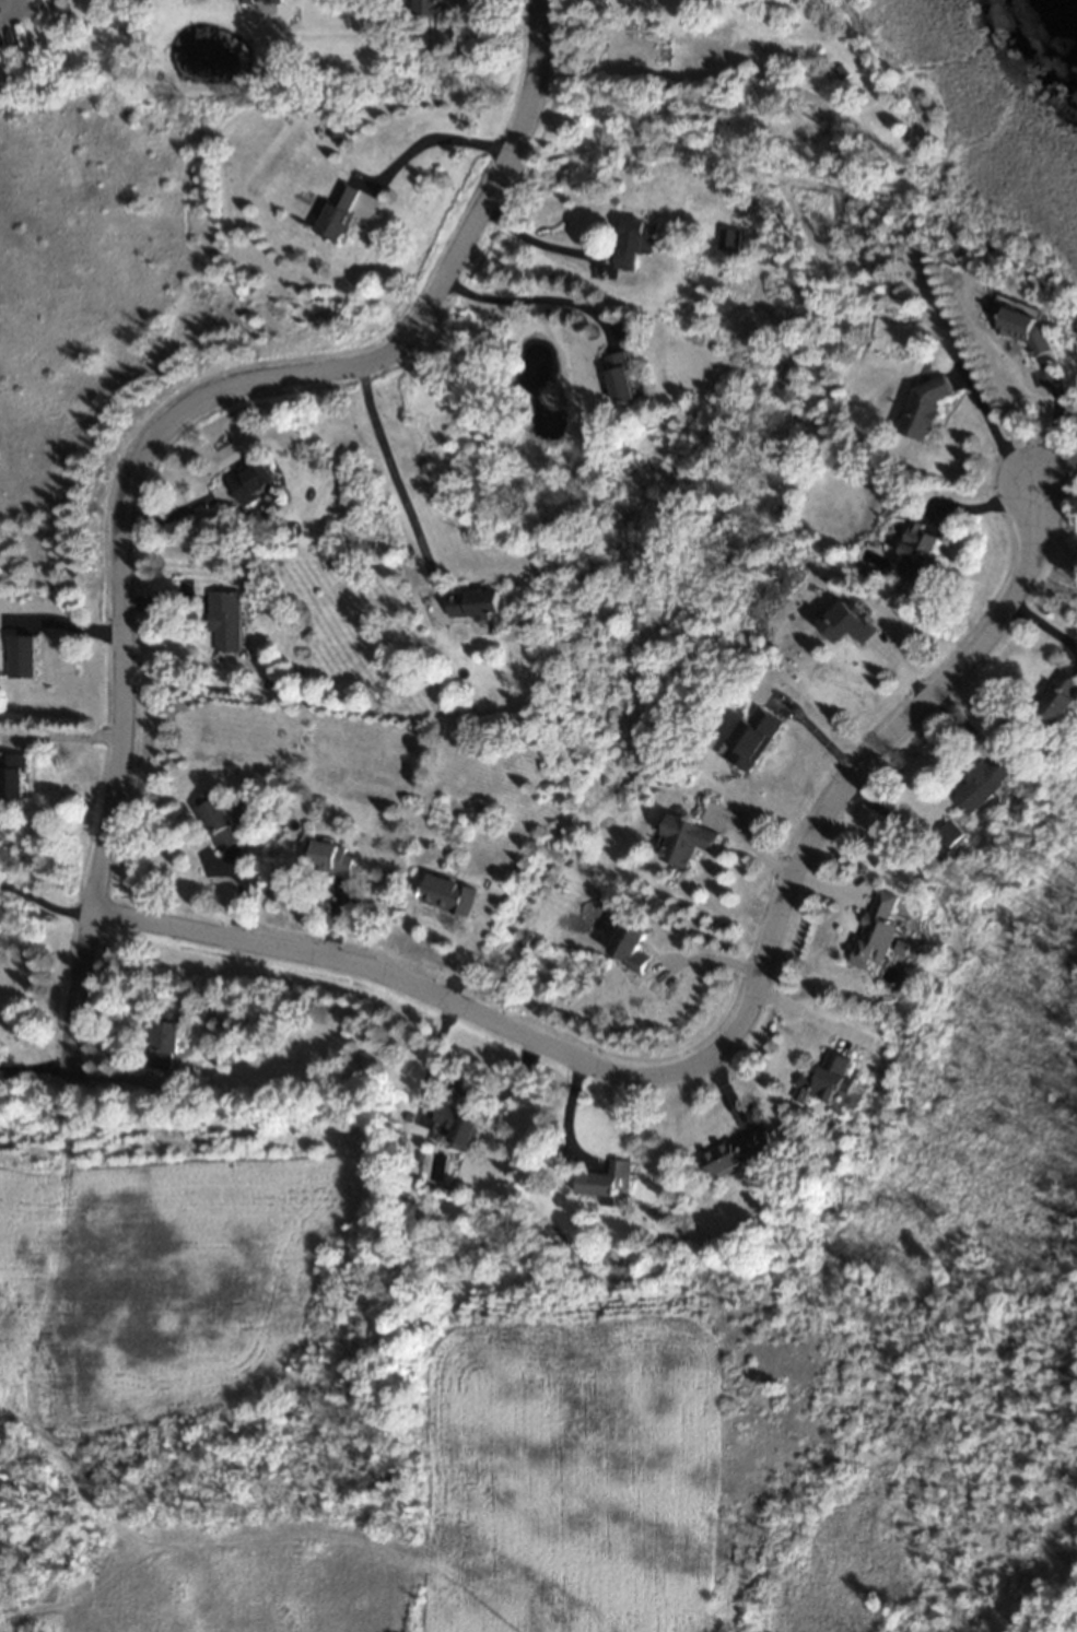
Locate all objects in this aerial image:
road: (9, 2)
building: (261, 2)
building: (430, 9)
building: (336, 131)
road: (431, 137)
building: (340, 215)
road: (534, 242)
building: (730, 242)
building: (640, 244)
road: (530, 301)
building: (1025, 330)
building: (623, 379)
building: (923, 411)
road: (1052, 432)
road: (154, 434)
road: (993, 434)
road: (388, 465)
building: (255, 489)
building: (917, 555)
building: (473, 607)
building: (226, 623)
building: (846, 626)
building: (23, 658)
building: (1058, 702)
building: (754, 739)
building: (13, 776)
building: (983, 785)
road: (829, 806)
building: (218, 822)
building: (950, 835)
building: (684, 844)
building: (331, 859)
building: (448, 895)
road: (43, 905)
building: (878, 934)
road: (450, 941)
building: (629, 949)
road: (352, 970)
road: (805, 1017)
building: (166, 1041)
building: (831, 1085)
building: (459, 1123)
building: (738, 1153)
building: (606, 1182)

